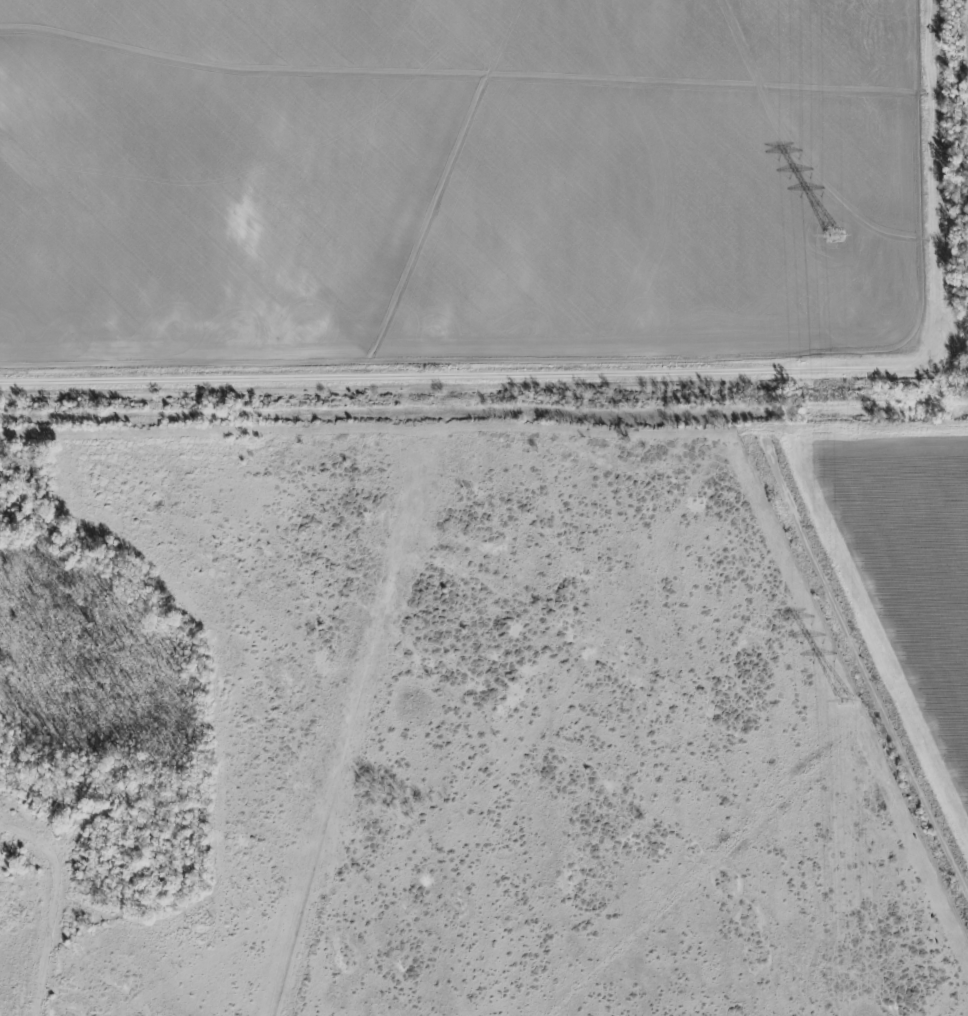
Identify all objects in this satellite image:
power tower: (834, 235)
road: (483, 379)
power tower: (847, 702)
road: (60, 904)

